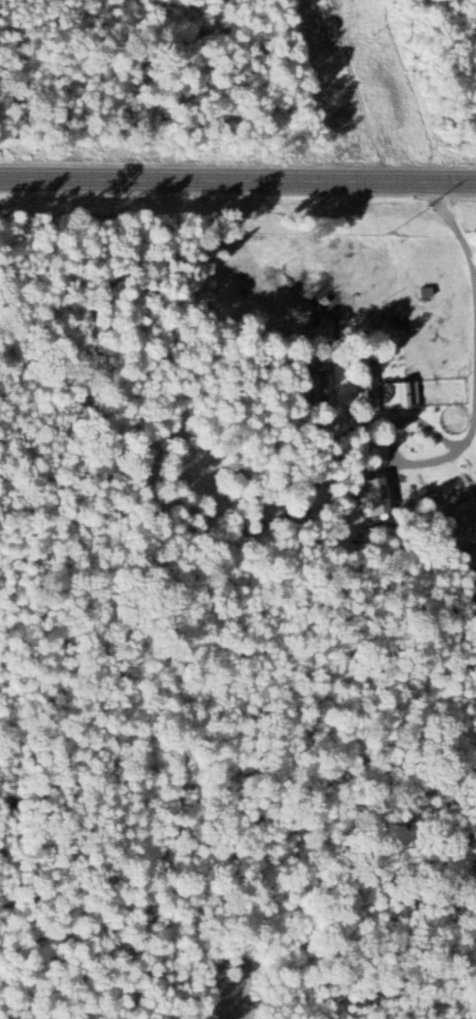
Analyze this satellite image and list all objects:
road: (238, 179)
building: (371, 385)
building: (402, 394)
building: (383, 495)

